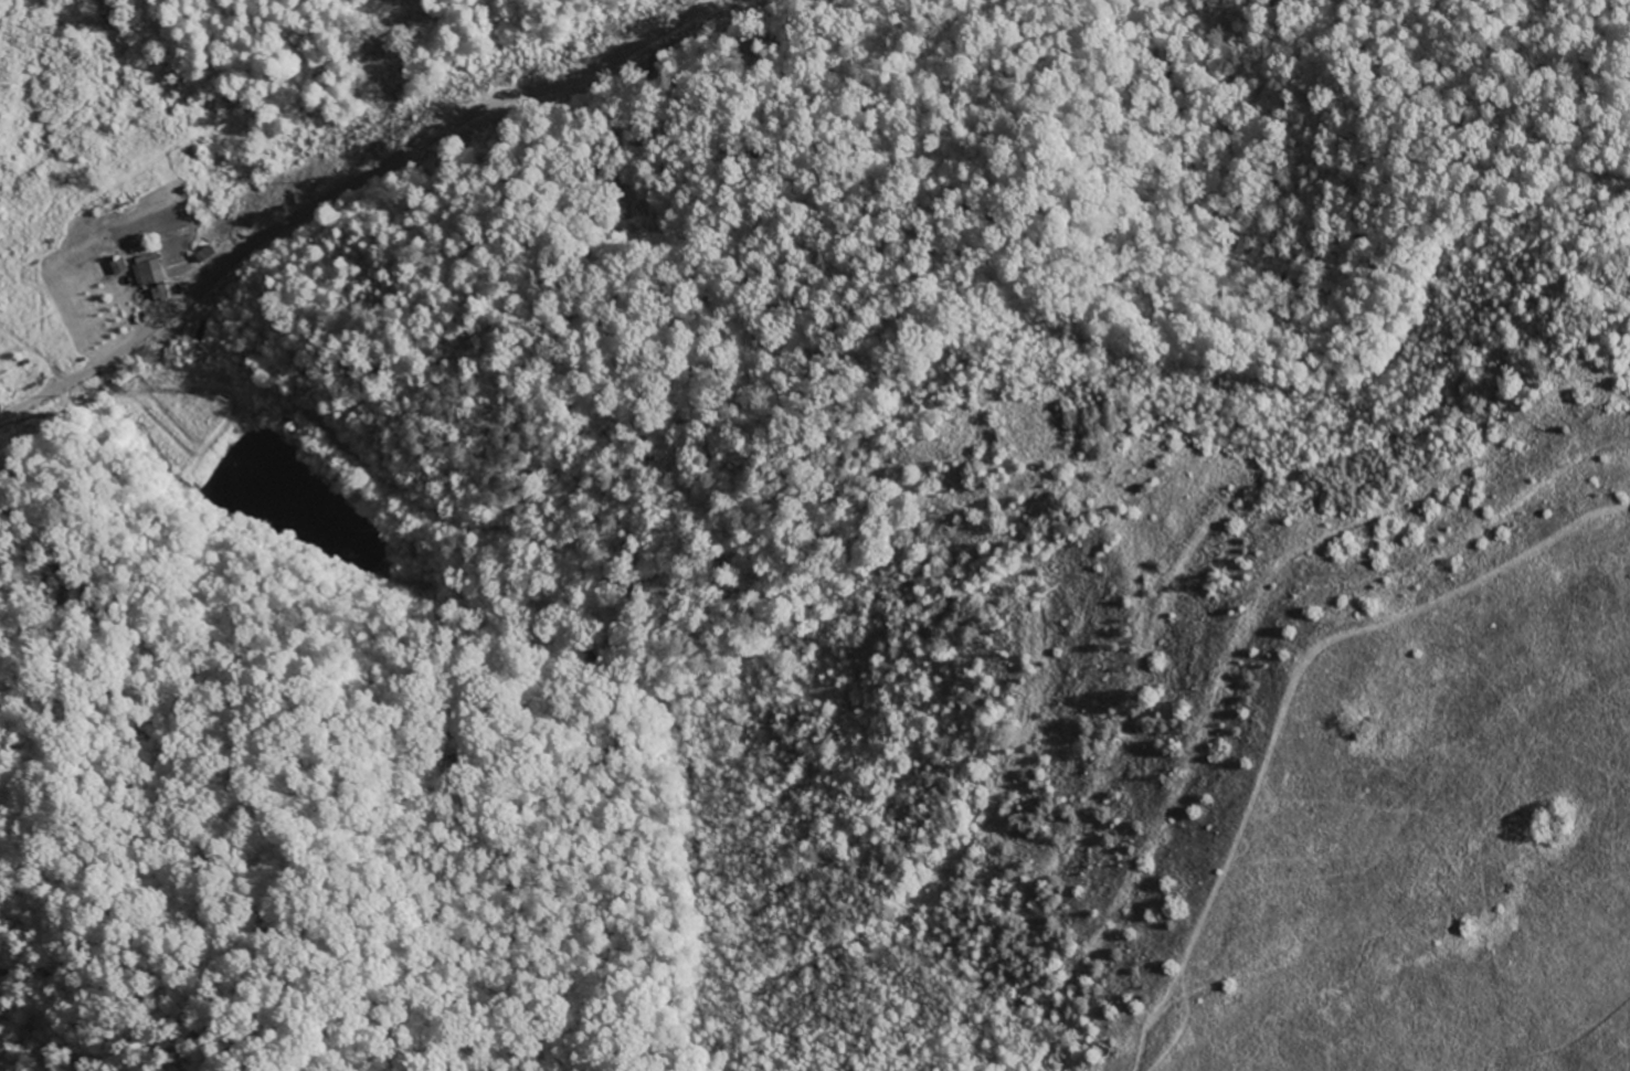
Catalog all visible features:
road: (349, 201)
building: (152, 277)

